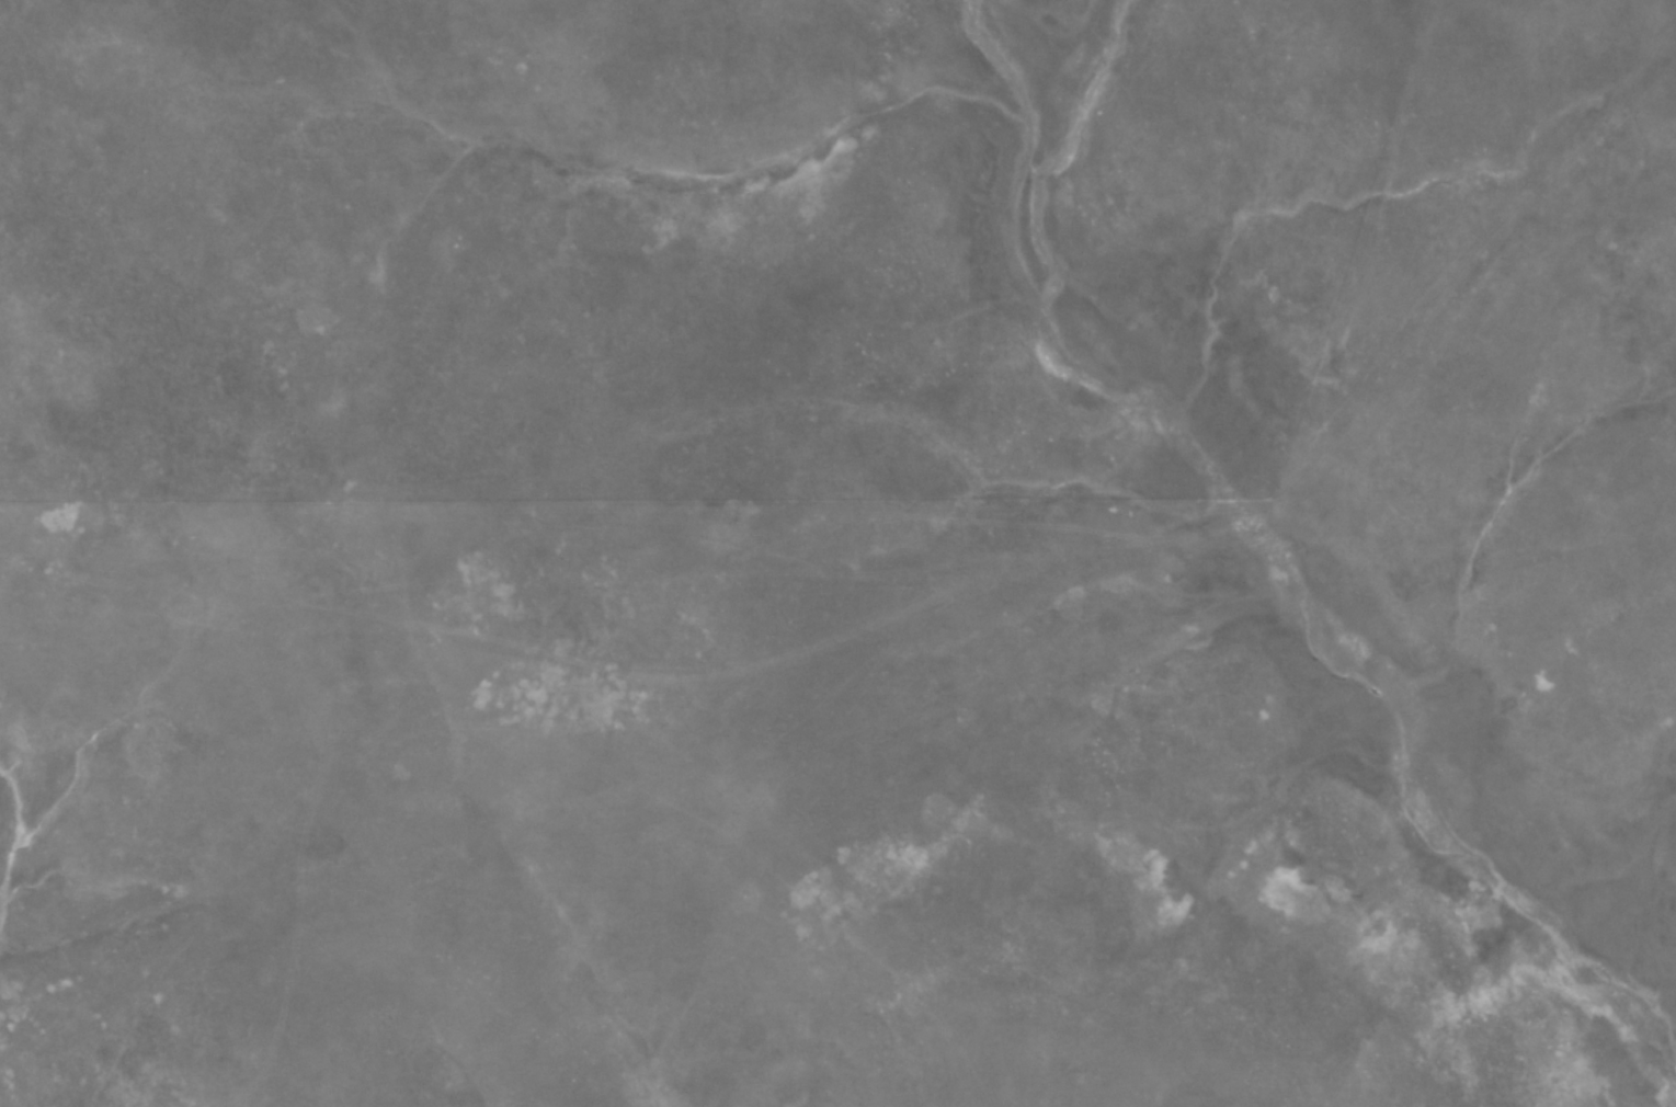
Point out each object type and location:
road: (1502, 756)

